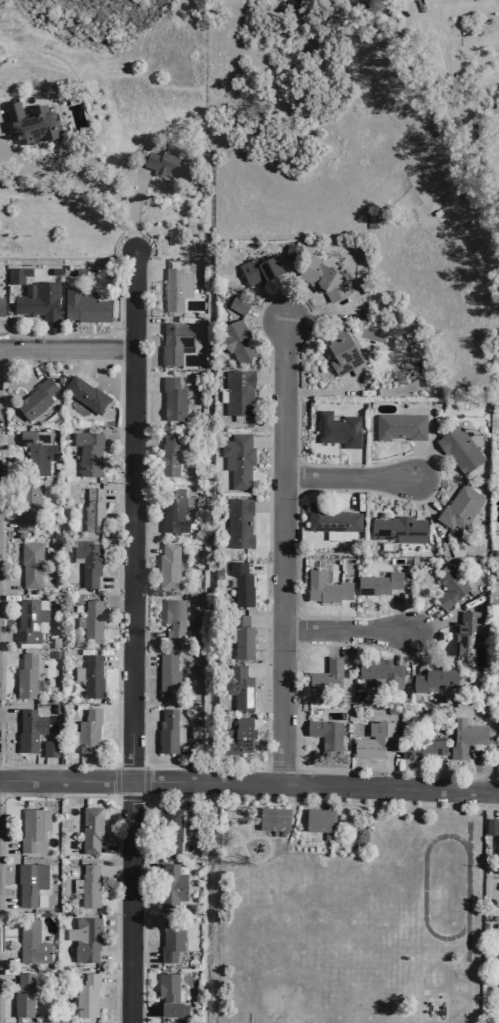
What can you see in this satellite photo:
building: (305, 3)
road: (440, 73)
building: (27, 123)
building: (145, 148)
road: (36, 156)
building: (160, 164)
road: (86, 176)
road: (135, 192)
building: (370, 220)
building: (290, 252)
road: (147, 270)
building: (258, 270)
building: (54, 271)
building: (16, 275)
building: (322, 279)
building: (175, 289)
road: (280, 296)
building: (37, 301)
building: (1, 305)
building: (237, 305)
building: (83, 307)
road: (263, 312)
road: (312, 313)
building: (201, 321)
road: (145, 325)
street lamp: (120, 328)
road: (68, 332)
road: (49, 334)
road: (89, 334)
road: (301, 338)
building: (236, 342)
building: (174, 343)
building: (409, 343)
road: (65, 344)
building: (342, 354)
road: (87, 362)
road: (109, 362)
road: (32, 363)
road: (267, 379)
road: (145, 383)
building: (237, 392)
road: (324, 392)
building: (85, 395)
building: (172, 399)
building: (35, 400)
building: (400, 427)
building: (338, 430)
road: (9, 438)
road: (145, 438)
road: (117, 441)
road: (265, 441)
building: (458, 450)
building: (37, 451)
building: (87, 453)
building: (168, 458)
building: (237, 459)
road: (413, 460)
road: (351, 463)
road: (423, 464)
road: (345, 474)
street lamp: (119, 483)
road: (117, 491)
road: (353, 492)
road: (422, 494)
road: (413, 496)
building: (28, 507)
road: (266, 507)
building: (459, 507)
building: (92, 511)
building: (172, 512)
building: (330, 519)
road: (6, 524)
building: (238, 524)
road: (145, 527)
building: (396, 529)
road: (280, 545)
road: (145, 548)
building: (87, 561)
building: (30, 564)
building: (167, 566)
road: (263, 568)
road: (10, 582)
road: (114, 582)
building: (377, 583)
building: (240, 584)
building: (448, 586)
building: (324, 588)
road: (116, 602)
road: (395, 611)
road: (345, 614)
road: (420, 618)
road: (264, 619)
building: (29, 620)
building: (91, 620)
building: (174, 621)
road: (432, 623)
road: (343, 629)
building: (466, 633)
road: (7, 636)
road: (131, 636)
building: (241, 636)
road: (147, 637)
road: (332, 641)
road: (399, 645)
road: (415, 650)
road: (9, 658)
road: (116, 658)
road: (142, 659)
road: (263, 670)
building: (497, 670)
building: (379, 671)
building: (166, 675)
building: (325, 675)
building: (25, 676)
building: (91, 676)
building: (434, 678)
building: (238, 687)
building: (391, 709)
road: (8, 713)
road: (115, 713)
road: (144, 713)
road: (265, 724)
road: (292, 727)
building: (28, 729)
building: (87, 730)
building: (166, 731)
building: (325, 733)
building: (235, 736)
building: (465, 738)
building: (373, 741)
building: (421, 747)
building: (48, 748)
street lamp: (117, 756)
road: (477, 766)
road: (49, 767)
street lamp: (260, 768)
road: (390, 768)
road: (441, 771)
road: (249, 778)
road: (144, 780)
road: (114, 781)
road: (209, 798)
road: (129, 799)
road: (490, 802)
building: (272, 817)
building: (319, 819)
road: (115, 827)
building: (89, 828)
building: (32, 829)
building: (169, 831)
building: (272, 832)
building: (493, 832)
building: (279, 833)
building: (325, 836)
road: (113, 847)
road: (8, 850)
road: (143, 869)
road: (113, 871)
building: (29, 881)
building: (86, 884)
building: (170, 885)
track: (443, 887)
road: (466, 919)
building: (83, 938)
building: (169, 938)
building: (30, 942)
building: (498, 955)
road: (112, 956)
road: (8, 957)
road: (142, 957)
road: (7, 978)
road: (113, 979)
building: (22, 995)
building: (85, 995)
building: (168, 996)
park: (283, 998)
building: (498, 999)
road: (139, 1011)
building: (498, 1012)

